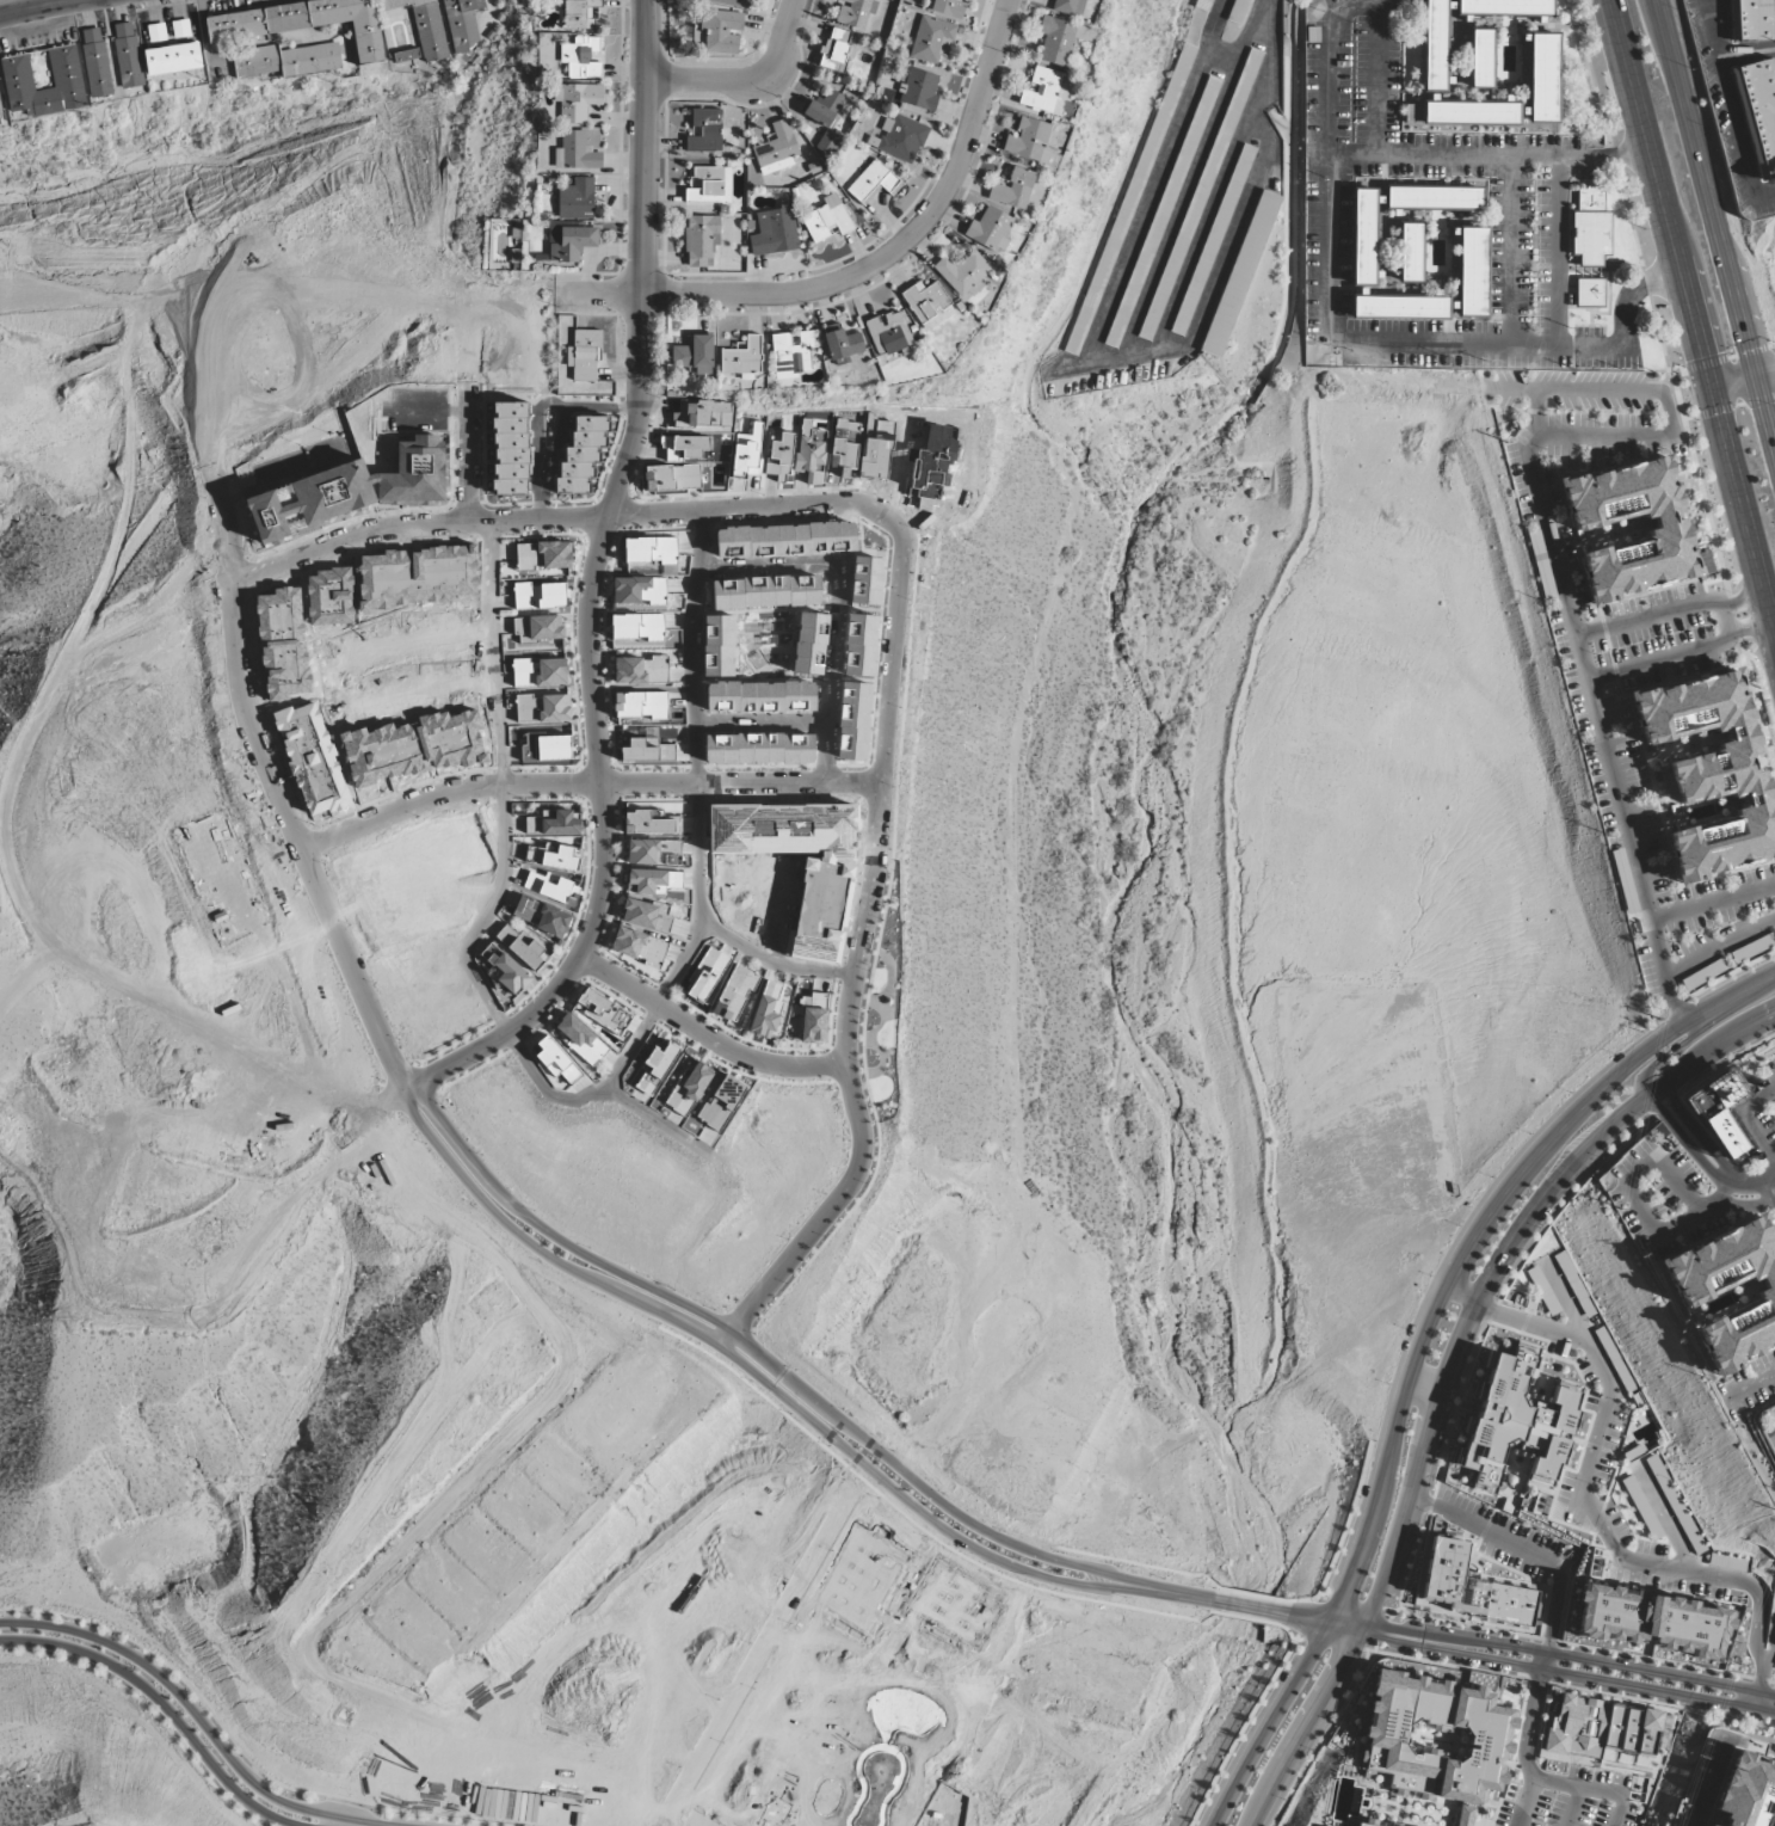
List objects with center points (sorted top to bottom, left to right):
building: (728, 2)
building: (1201, 5)
road: (47, 7)
building: (1067, 7)
building: (1506, 7)
building: (949, 8)
building: (855, 12)
building: (1239, 12)
building: (579, 14)
building: (1755, 19)
building: (304, 23)
building: (461, 24)
building: (423, 26)
building: (180, 29)
building: (721, 31)
building: (156, 32)
building: (931, 39)
building: (1058, 41)
building: (1432, 44)
building: (836, 50)
road: (1222, 54)
building: (127, 55)
building: (406, 55)
building: (581, 57)
building: (1480, 57)
building: (172, 59)
building: (284, 60)
building: (94, 62)
building: (66, 76)
road: (1375, 78)
building: (1545, 78)
road: (752, 86)
building: (919, 90)
building: (1041, 90)
road: (1728, 97)
building: (577, 100)
building: (824, 107)
building: (1462, 112)
building: (1758, 112)
building: (705, 131)
building: (900, 139)
building: (1029, 141)
building: (828, 142)
building: (777, 149)
building: (579, 150)
road: (1486, 155)
road: (1325, 159)
road: (1189, 179)
road: (1222, 179)
building: (873, 183)
road: (1153, 184)
parking lot: (1524, 184)
building: (710, 185)
building: (1013, 189)
building: (1435, 198)
building: (575, 199)
road: (1717, 220)
building: (827, 221)
building: (1589, 226)
building: (990, 229)
building: (775, 232)
building: (1364, 238)
building: (701, 239)
building: (1213, 240)
building: (571, 242)
building: (1411, 252)
road: (1511, 252)
road: (1557, 253)
road: (868, 270)
building: (1473, 272)
building: (963, 273)
building: (1240, 273)
building: (1588, 293)
road: (1207, 299)
building: (927, 305)
building: (1399, 306)
road: (1690, 316)
building: (889, 337)
building: (843, 345)
road: (1530, 349)
building: (584, 355)
building: (791, 355)
building: (694, 356)
building: (742, 358)
road: (1668, 371)
road: (1767, 373)
traffic signals: (1758, 375)
road: (1733, 381)
traffic signals: (1709, 387)
road: (1602, 392)
road: (1535, 412)
road: (541, 417)
building: (686, 448)
building: (747, 451)
building: (811, 453)
road: (472, 455)
building: (779, 457)
building: (844, 457)
building: (672, 478)
building: (1663, 524)
building: (651, 551)
building: (543, 555)
road: (590, 588)
building: (640, 590)
building: (765, 592)
building: (538, 596)
road: (1742, 600)
road: (1722, 620)
road: (894, 622)
building: (543, 628)
building: (639, 628)
road: (1749, 631)
building: (716, 646)
road: (1582, 664)
building: (641, 670)
building: (538, 672)
building: (760, 697)
building: (640, 705)
building: (543, 708)
building: (853, 721)
building: (546, 748)
building: (759, 749)
building: (647, 751)
road: (697, 763)
building: (1713, 773)
road: (584, 785)
road: (504, 787)
building: (554, 824)
building: (648, 824)
road: (298, 841)
building: (561, 860)
building: (553, 889)
road: (1712, 904)
building: (525, 909)
building: (642, 915)
building: (553, 922)
building: (520, 946)
building: (639, 947)
building: (1752, 948)
road: (1719, 949)
road: (772, 964)
building: (506, 970)
building: (1705, 973)
building: (707, 975)
building: (734, 994)
park: (880, 1006)
building: (603, 1010)
building: (766, 1012)
building: (813, 1017)
road: (705, 1034)
building: (580, 1038)
road: (1660, 1057)
building: (555, 1059)
building: (655, 1069)
building: (688, 1090)
road: (587, 1095)
building: (722, 1102)
building: (1720, 1113)
road: (655, 1120)
road: (1695, 1131)
road: (1685, 1141)
road: (1751, 1182)
road: (1623, 1183)
road: (1765, 1194)
road: (1720, 1203)
road: (1745, 1206)
building: (1699, 1289)
building: (1543, 1291)
road: (1462, 1293)
building: (1617, 1298)
road: (1416, 1342)
road: (752, 1347)
road: (742, 1364)
road: (1450, 1375)
road: (1750, 1389)
road: (1422, 1394)
building: (1518, 1433)
road: (1773, 1435)
road: (467, 1481)
building: (1639, 1502)
road: (1592, 1515)
building: (1465, 1594)
road: (1224, 1603)
building: (1608, 1616)
road: (1346, 1625)
building: (1688, 1631)
road: (1568, 1658)
road: (1542, 1661)
road: (1568, 1673)
road: (1756, 1701)
road: (162, 1705)
road: (147, 1708)
road: (199, 1720)
road: (524, 1728)
building: (1592, 1740)
building: (1431, 1746)
road: (236, 1747)
road: (1524, 1747)
road: (1586, 1789)
building: (1750, 1795)
road: (326, 1797)
road: (1705, 1797)
road: (323, 1813)
building: (1363, 1825)
building: (1707, 1825)

